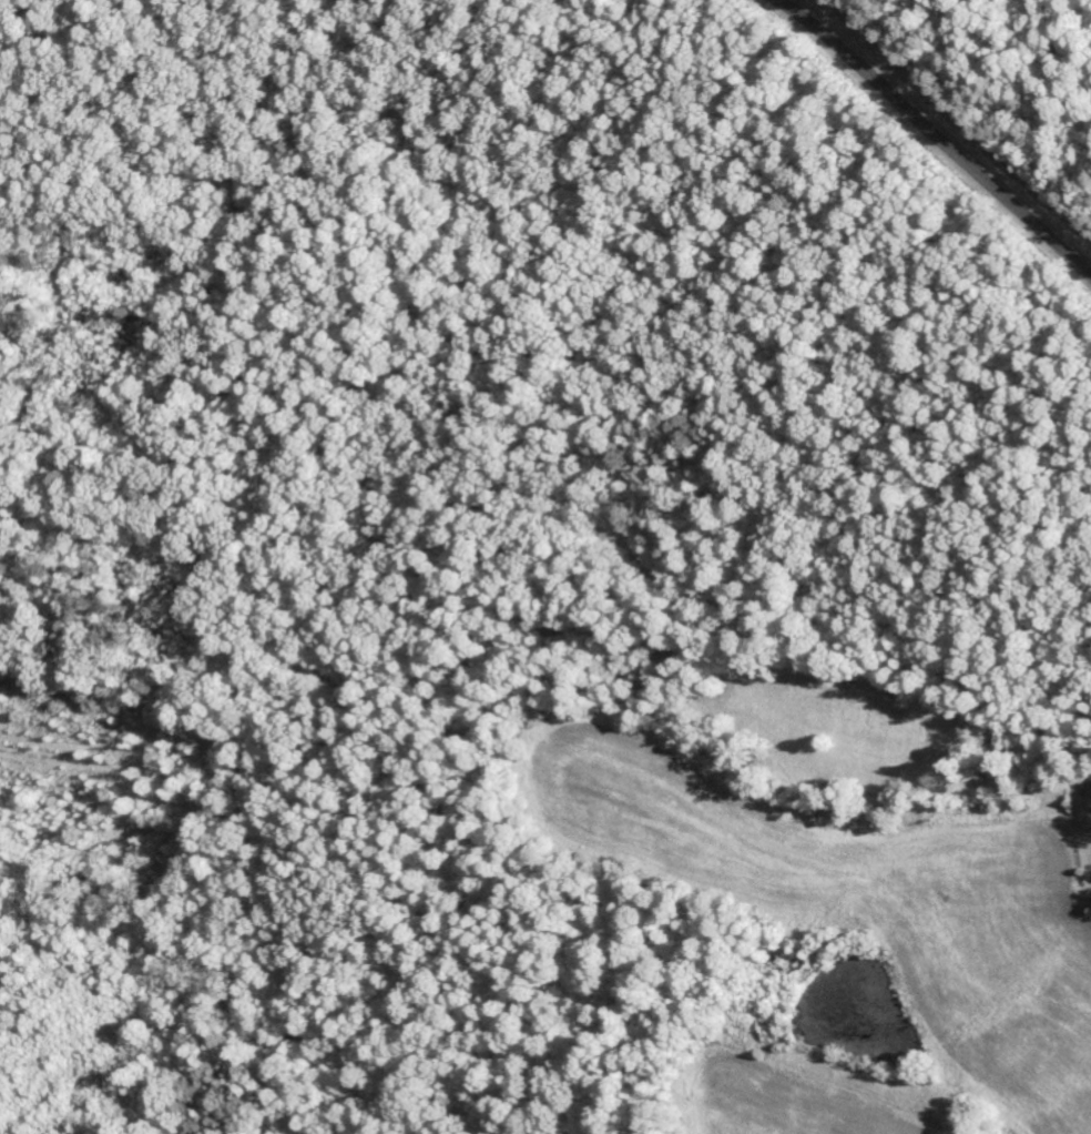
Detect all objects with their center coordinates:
road: (936, 134)

